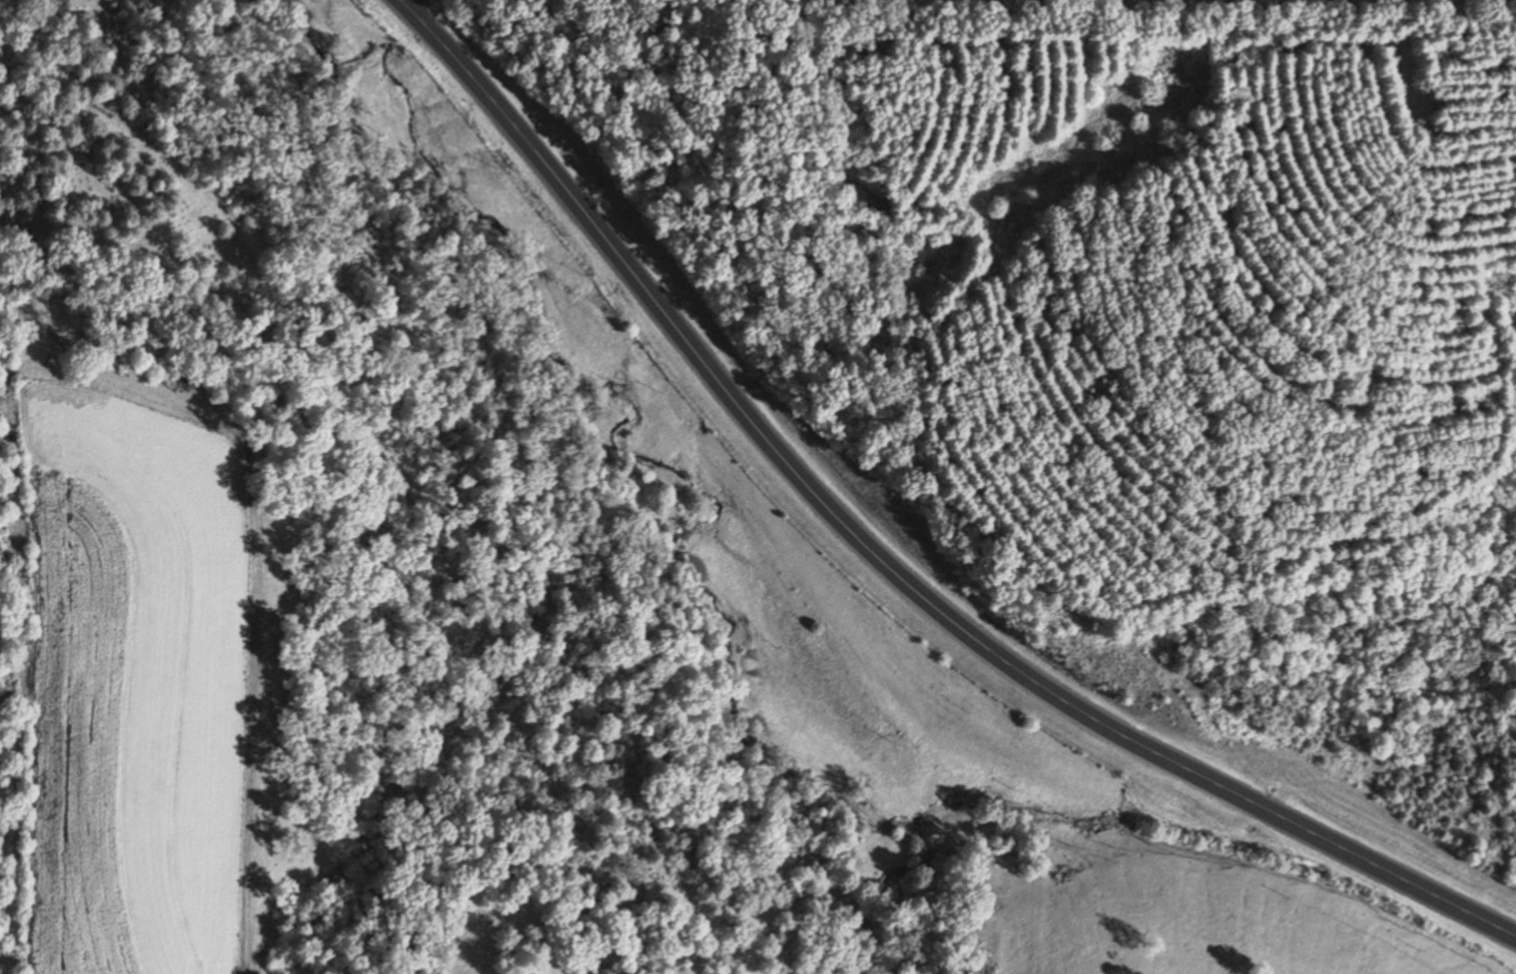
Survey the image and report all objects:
road: (418, 8)
road: (882, 560)

